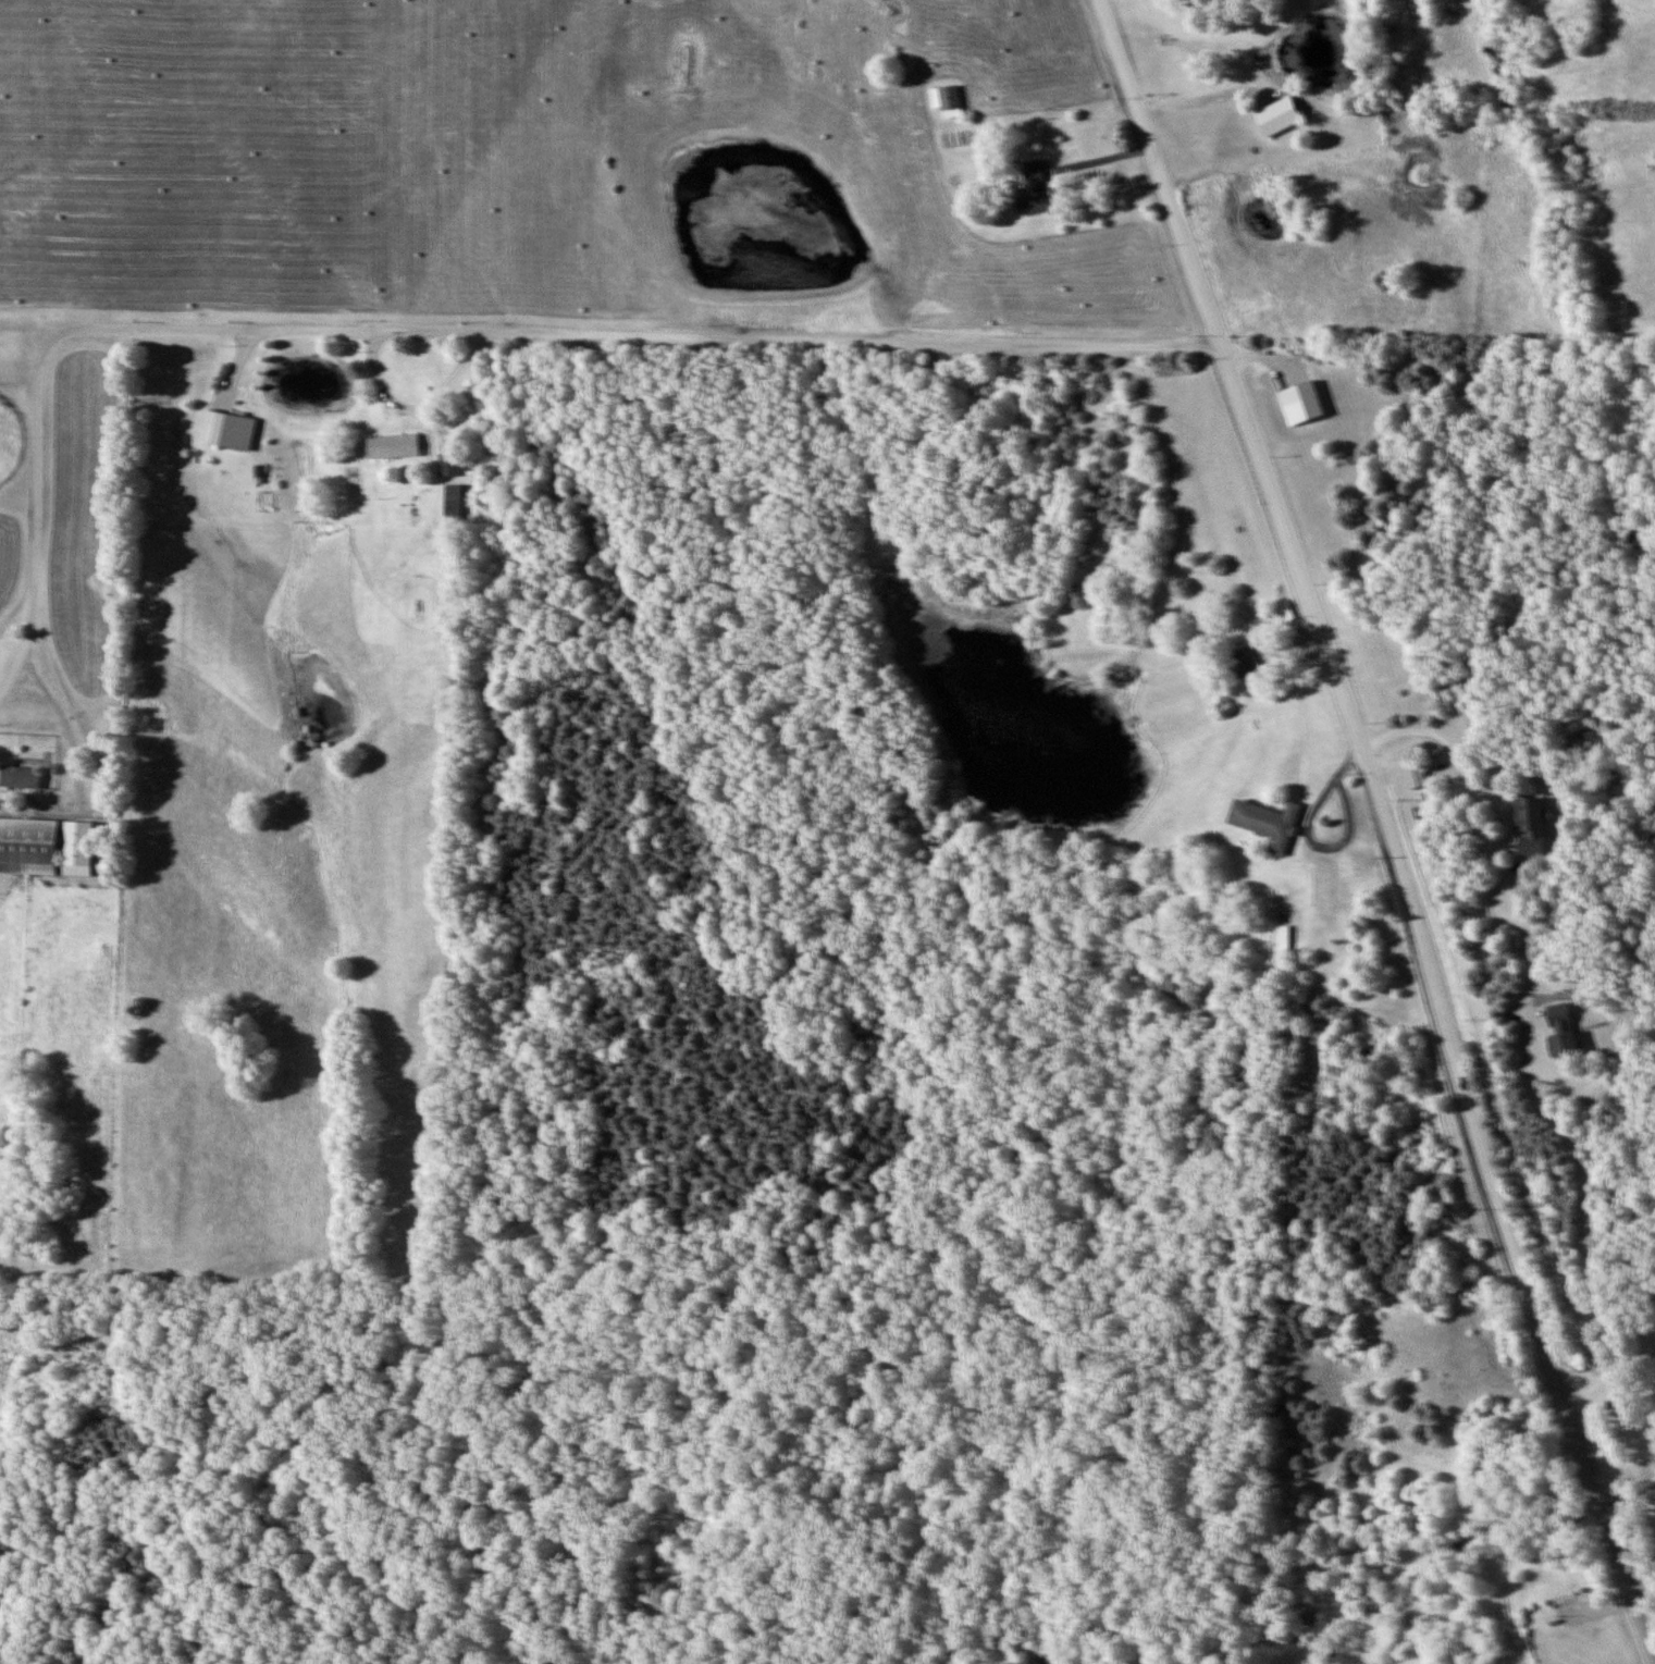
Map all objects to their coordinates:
building: (948, 100)
building: (1279, 118)
building: (1035, 189)
road: (468, 337)
building: (1301, 402)
building: (229, 429)
building: (391, 446)
building: (449, 464)
building: (454, 502)
building: (440, 544)
building: (1247, 661)
building: (1416, 775)
building: (18, 776)
building: (1268, 822)
building: (1531, 826)
road: (1385, 828)
building: (28, 846)
building: (77, 848)
building: (1283, 938)
building: (1566, 1044)
road: (1616, 1370)
road: (1637, 1545)
park: (183, 1578)

